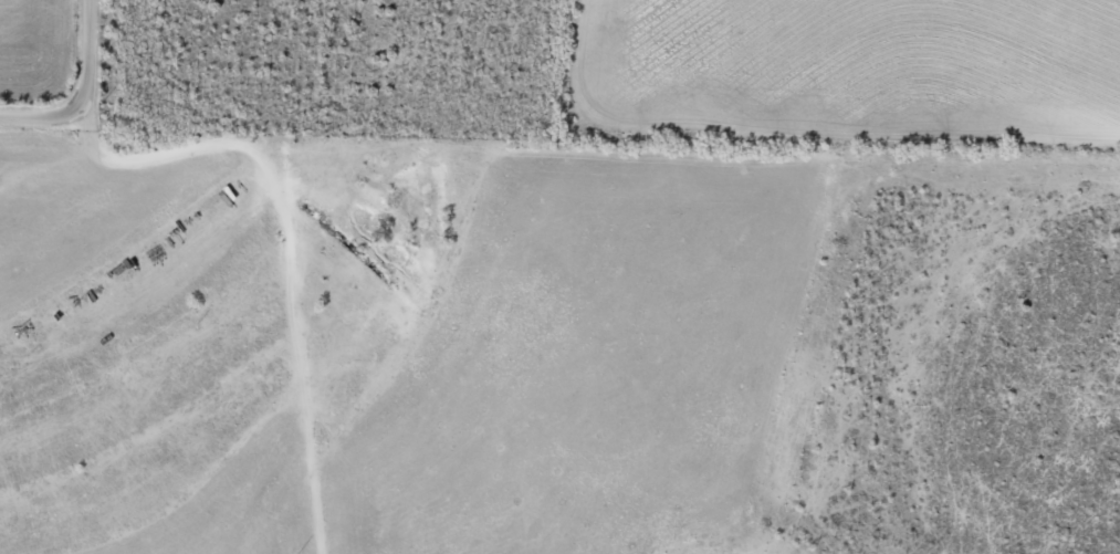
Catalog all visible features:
road: (101, 92)
road: (293, 272)

